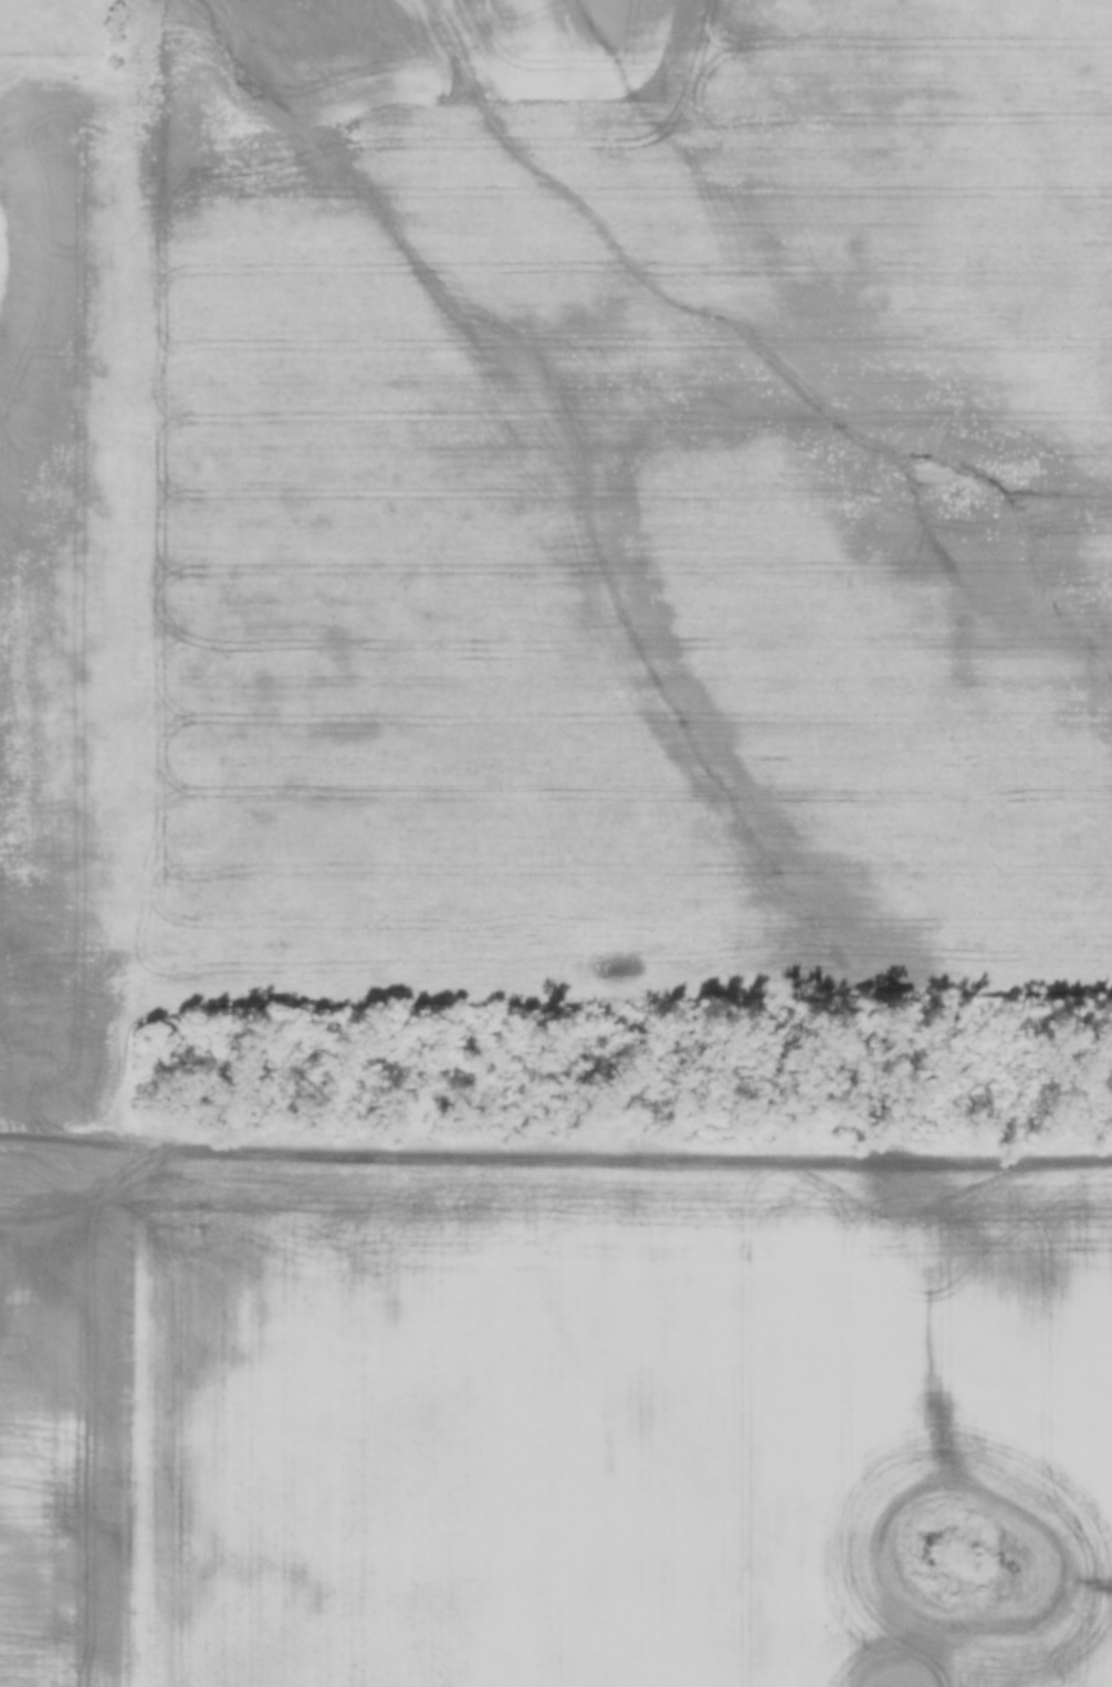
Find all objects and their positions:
road: (657, 1157)

